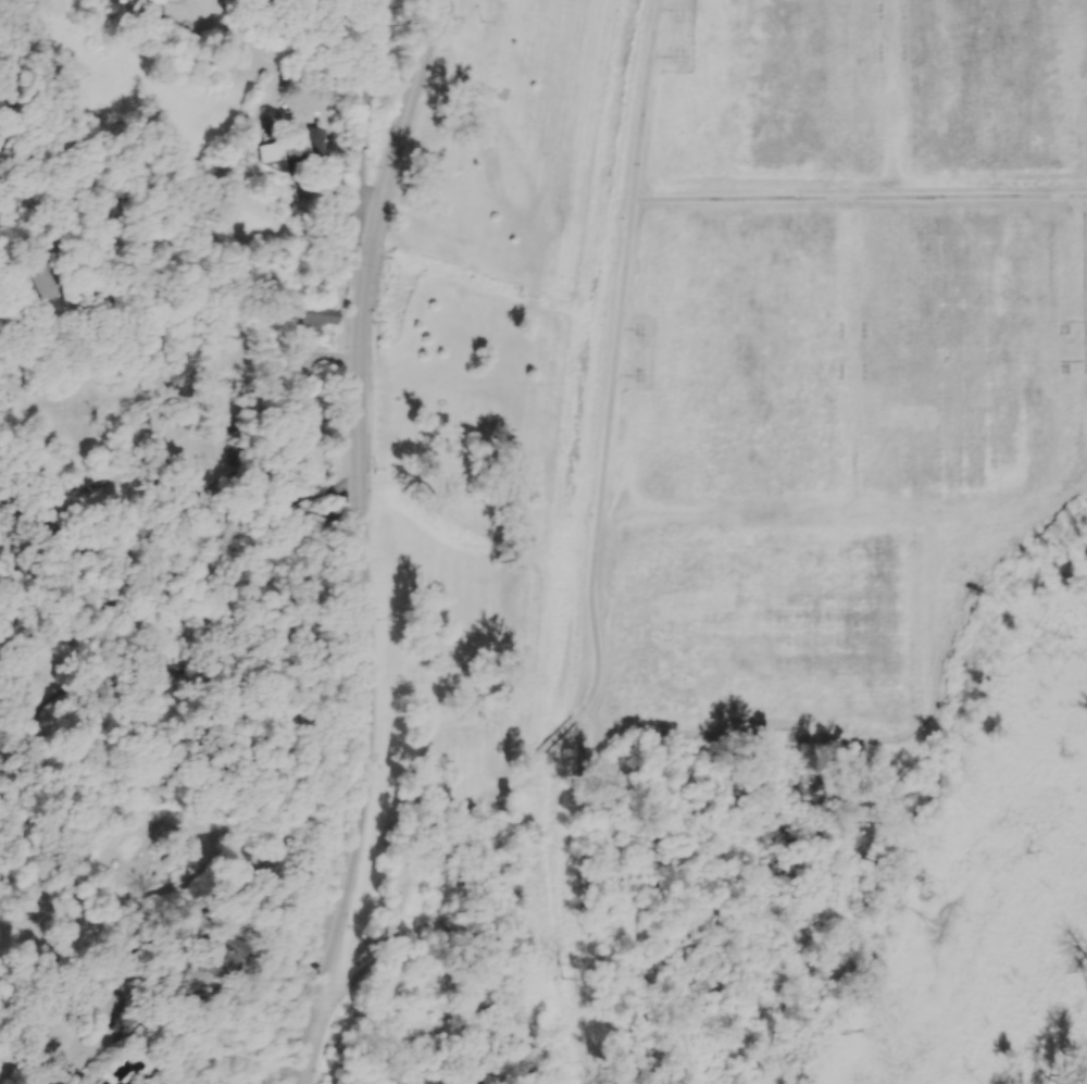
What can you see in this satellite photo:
road: (232, 38)
park: (1001, 82)
park: (782, 83)
road: (360, 124)
building: (298, 150)
road: (202, 190)
road: (1085, 197)
road: (858, 198)
road: (42, 212)
building: (52, 284)
road: (1083, 285)
building: (95, 309)
building: (317, 317)
park: (961, 350)
park: (742, 352)
road: (614, 363)
road: (179, 533)
road: (362, 539)
park: (732, 553)
park: (760, 630)
road: (547, 744)
road: (630, 899)
road: (399, 911)
road: (29, 1049)

